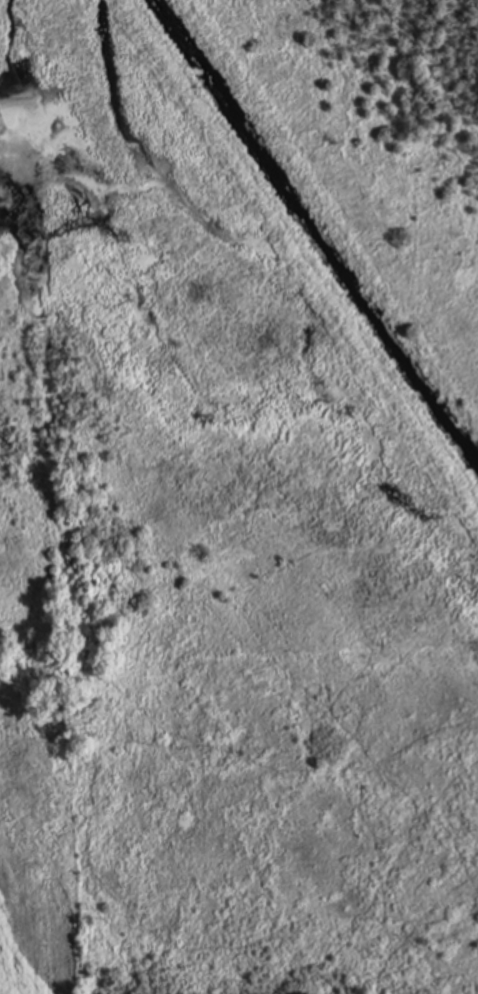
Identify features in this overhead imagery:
river: (313, 237)

